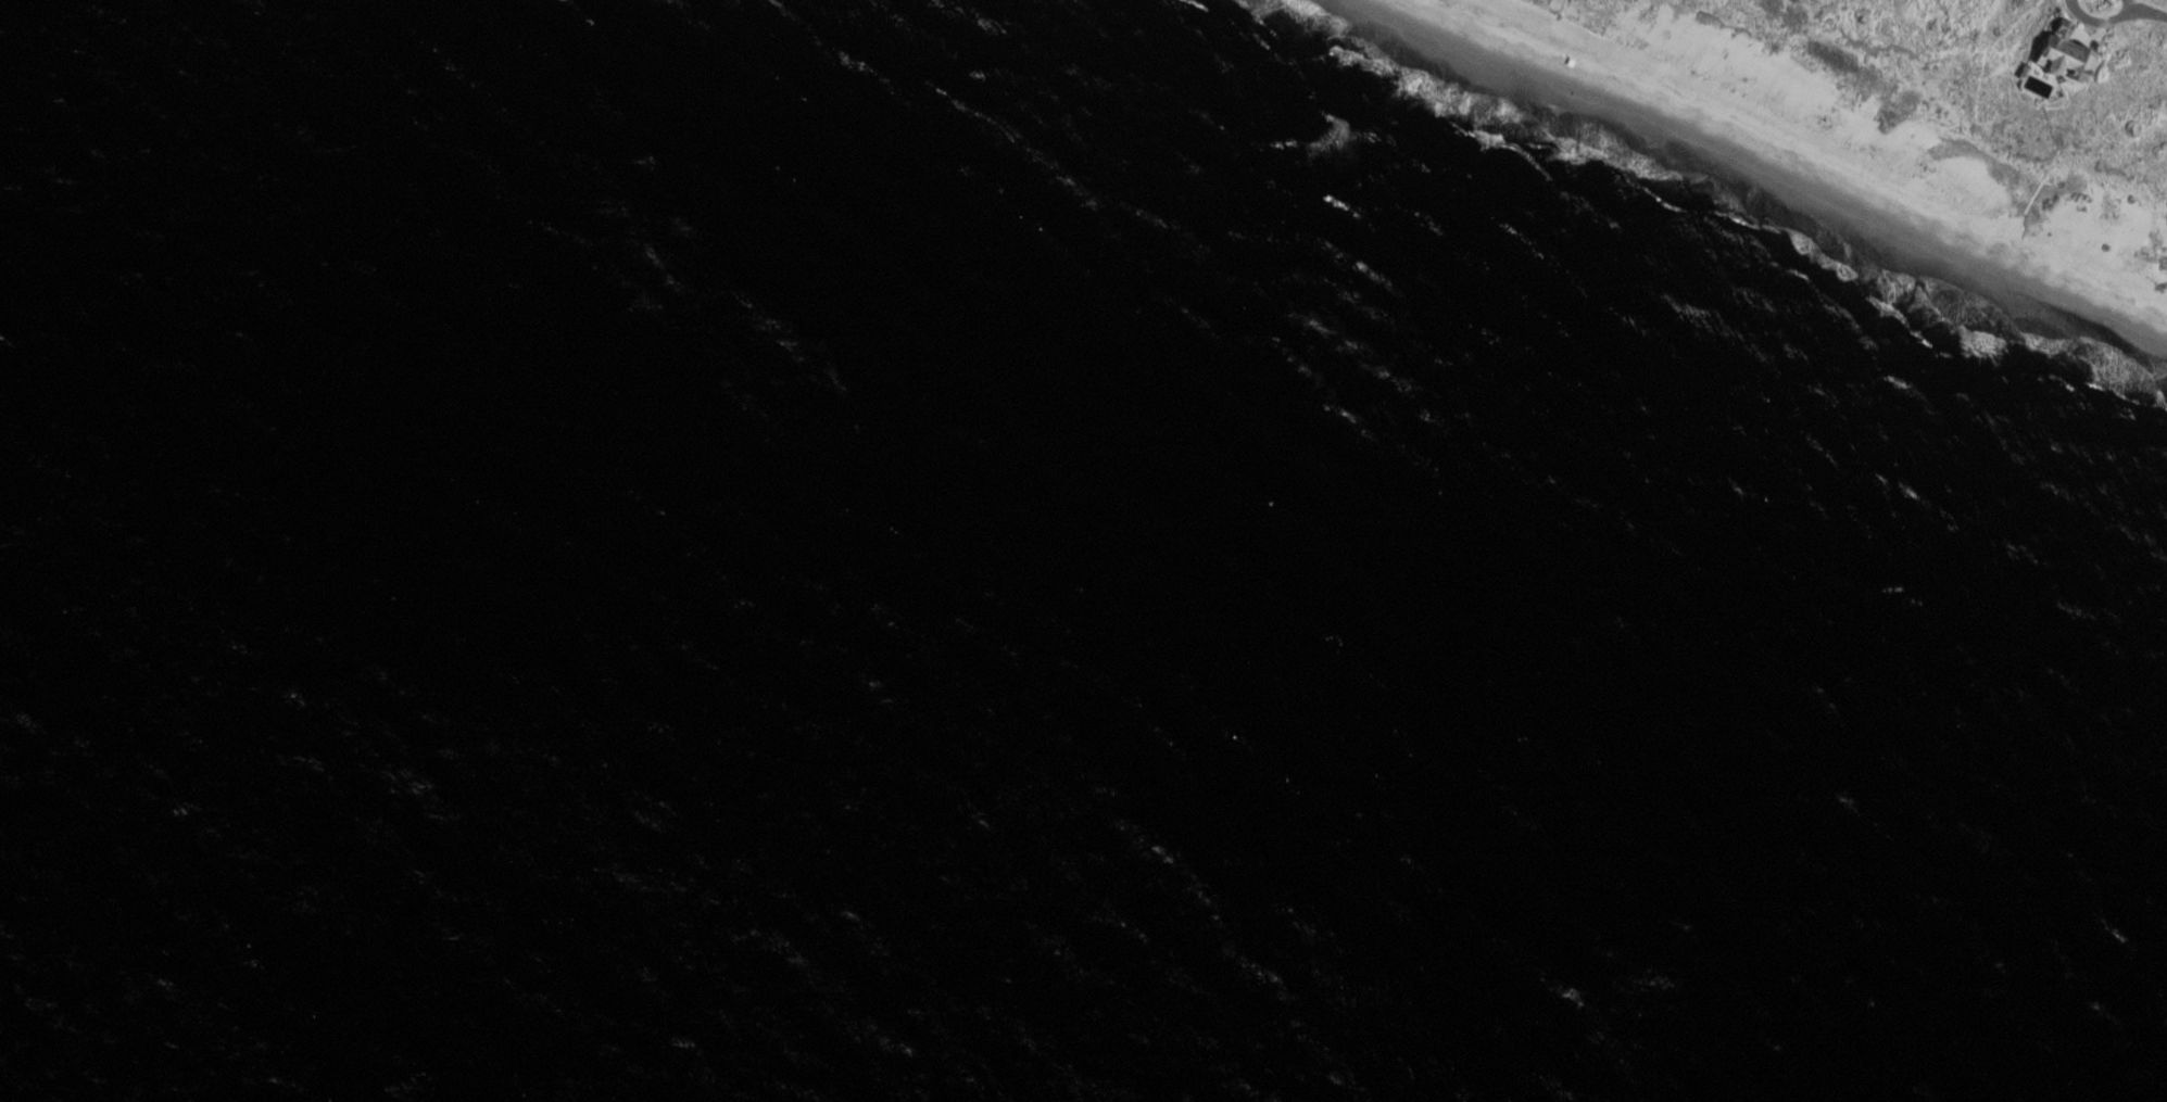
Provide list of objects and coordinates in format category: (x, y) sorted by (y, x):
road: (2146, 12)
road: (2101, 21)
building: (2054, 63)

